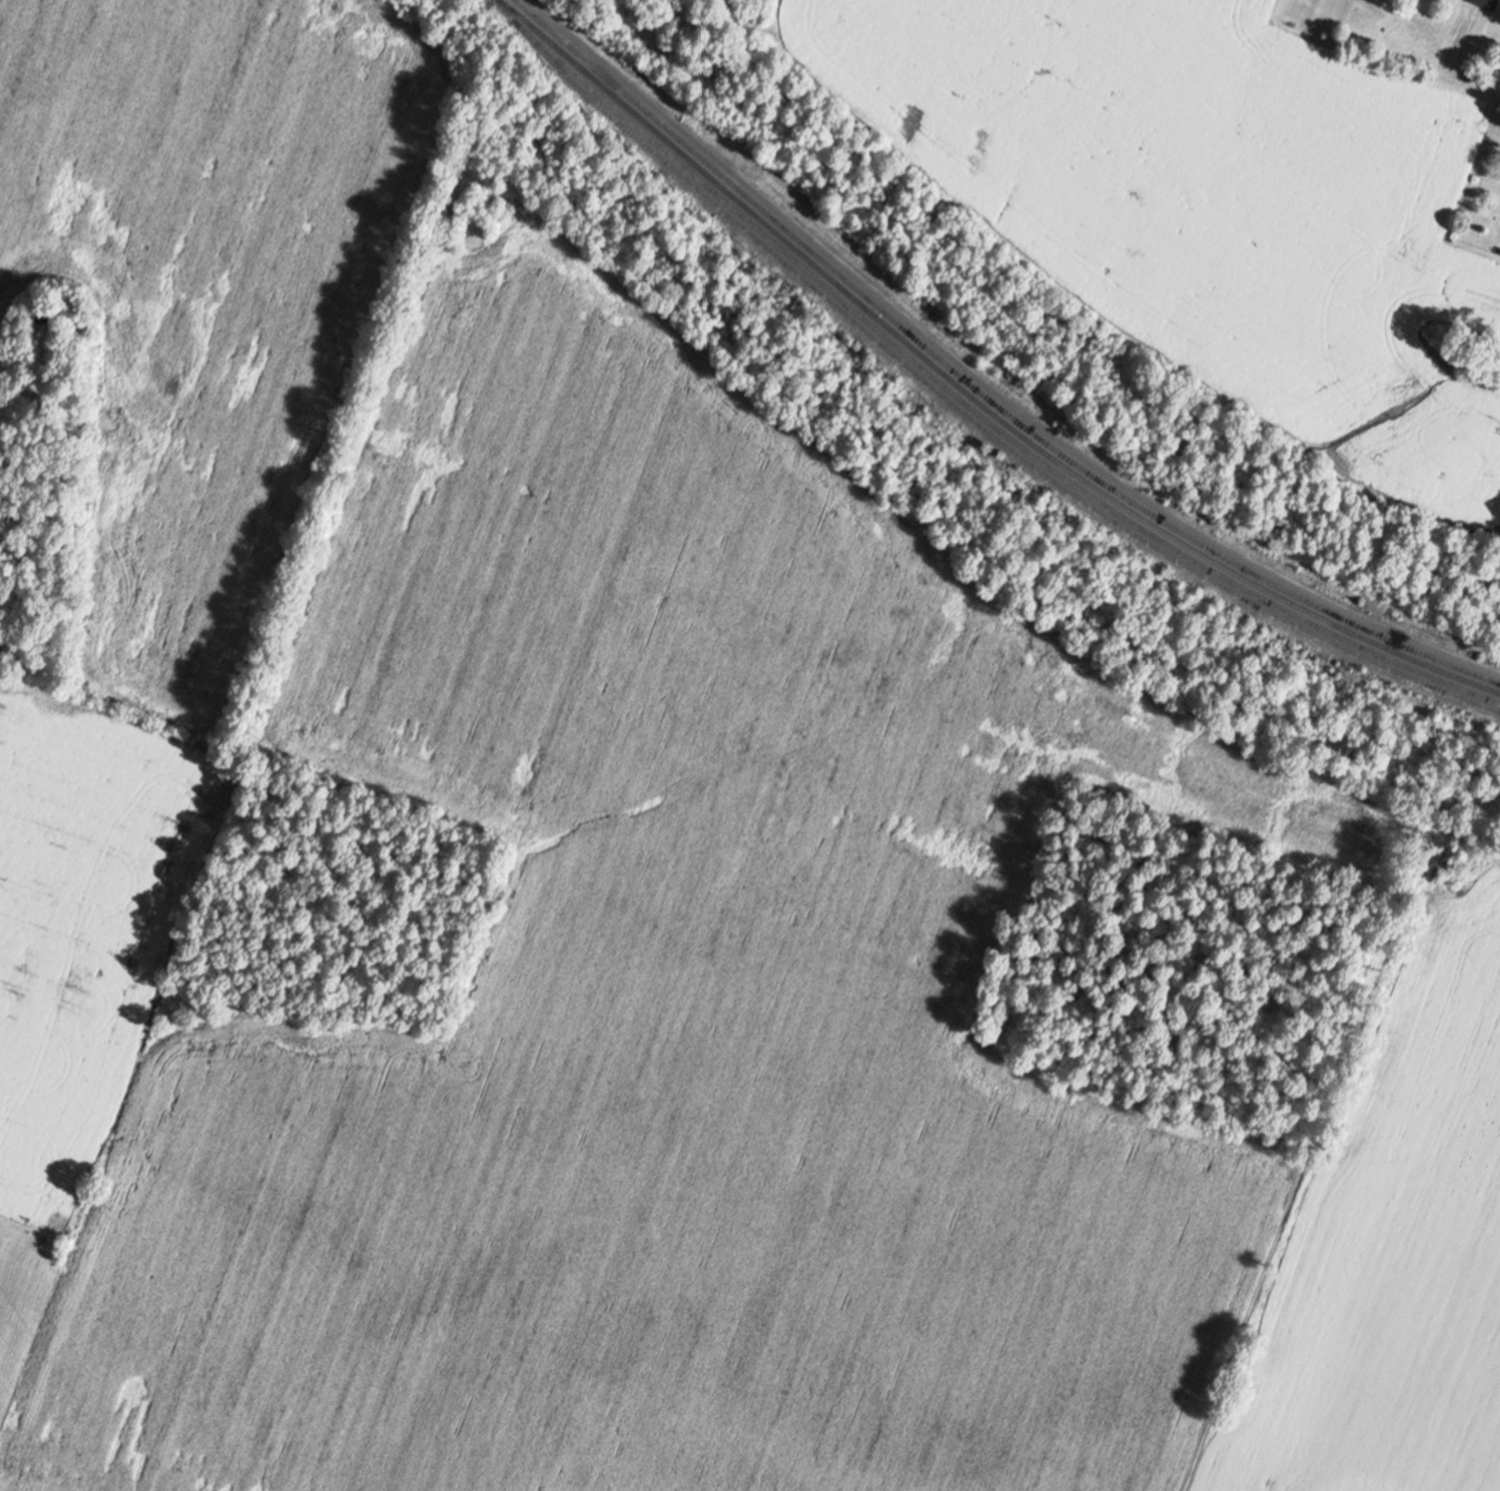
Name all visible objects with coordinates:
building: (1487, 4)
railway: (978, 384)
railway: (970, 390)
railway: (962, 406)
railway: (976, 406)
railway: (993, 537)

